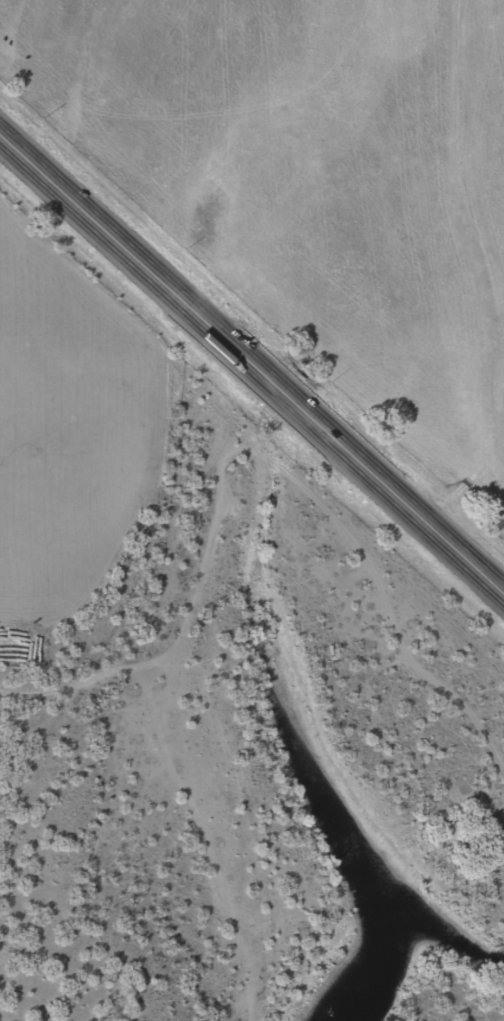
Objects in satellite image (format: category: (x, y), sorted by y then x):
road: (251, 371)

